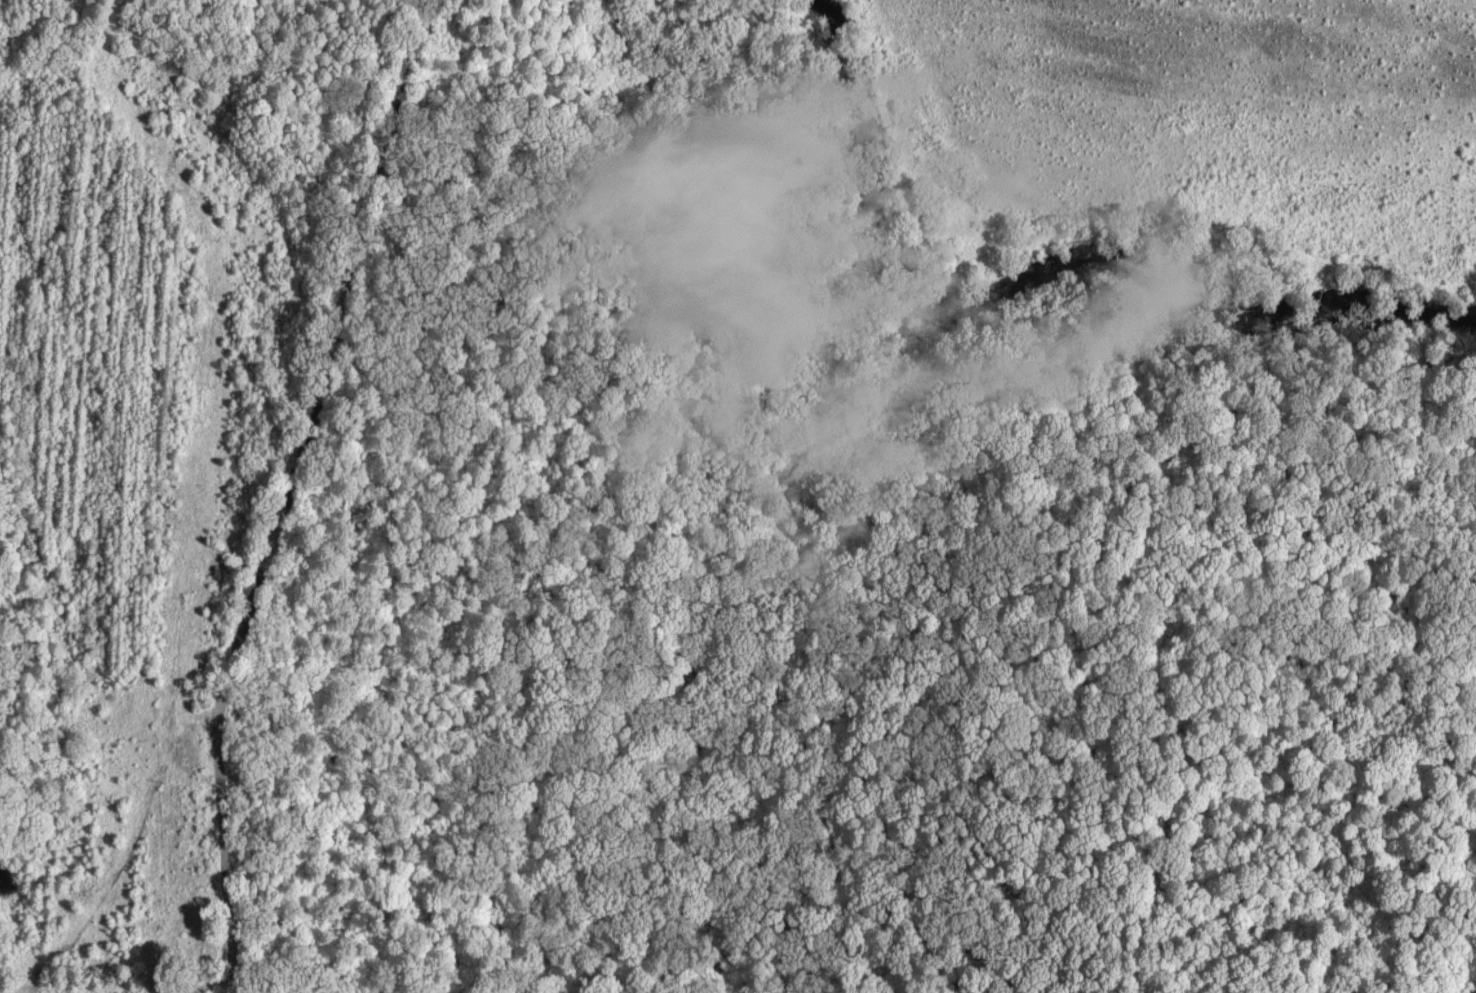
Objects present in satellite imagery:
river: (1049, 273)
road: (276, 493)

